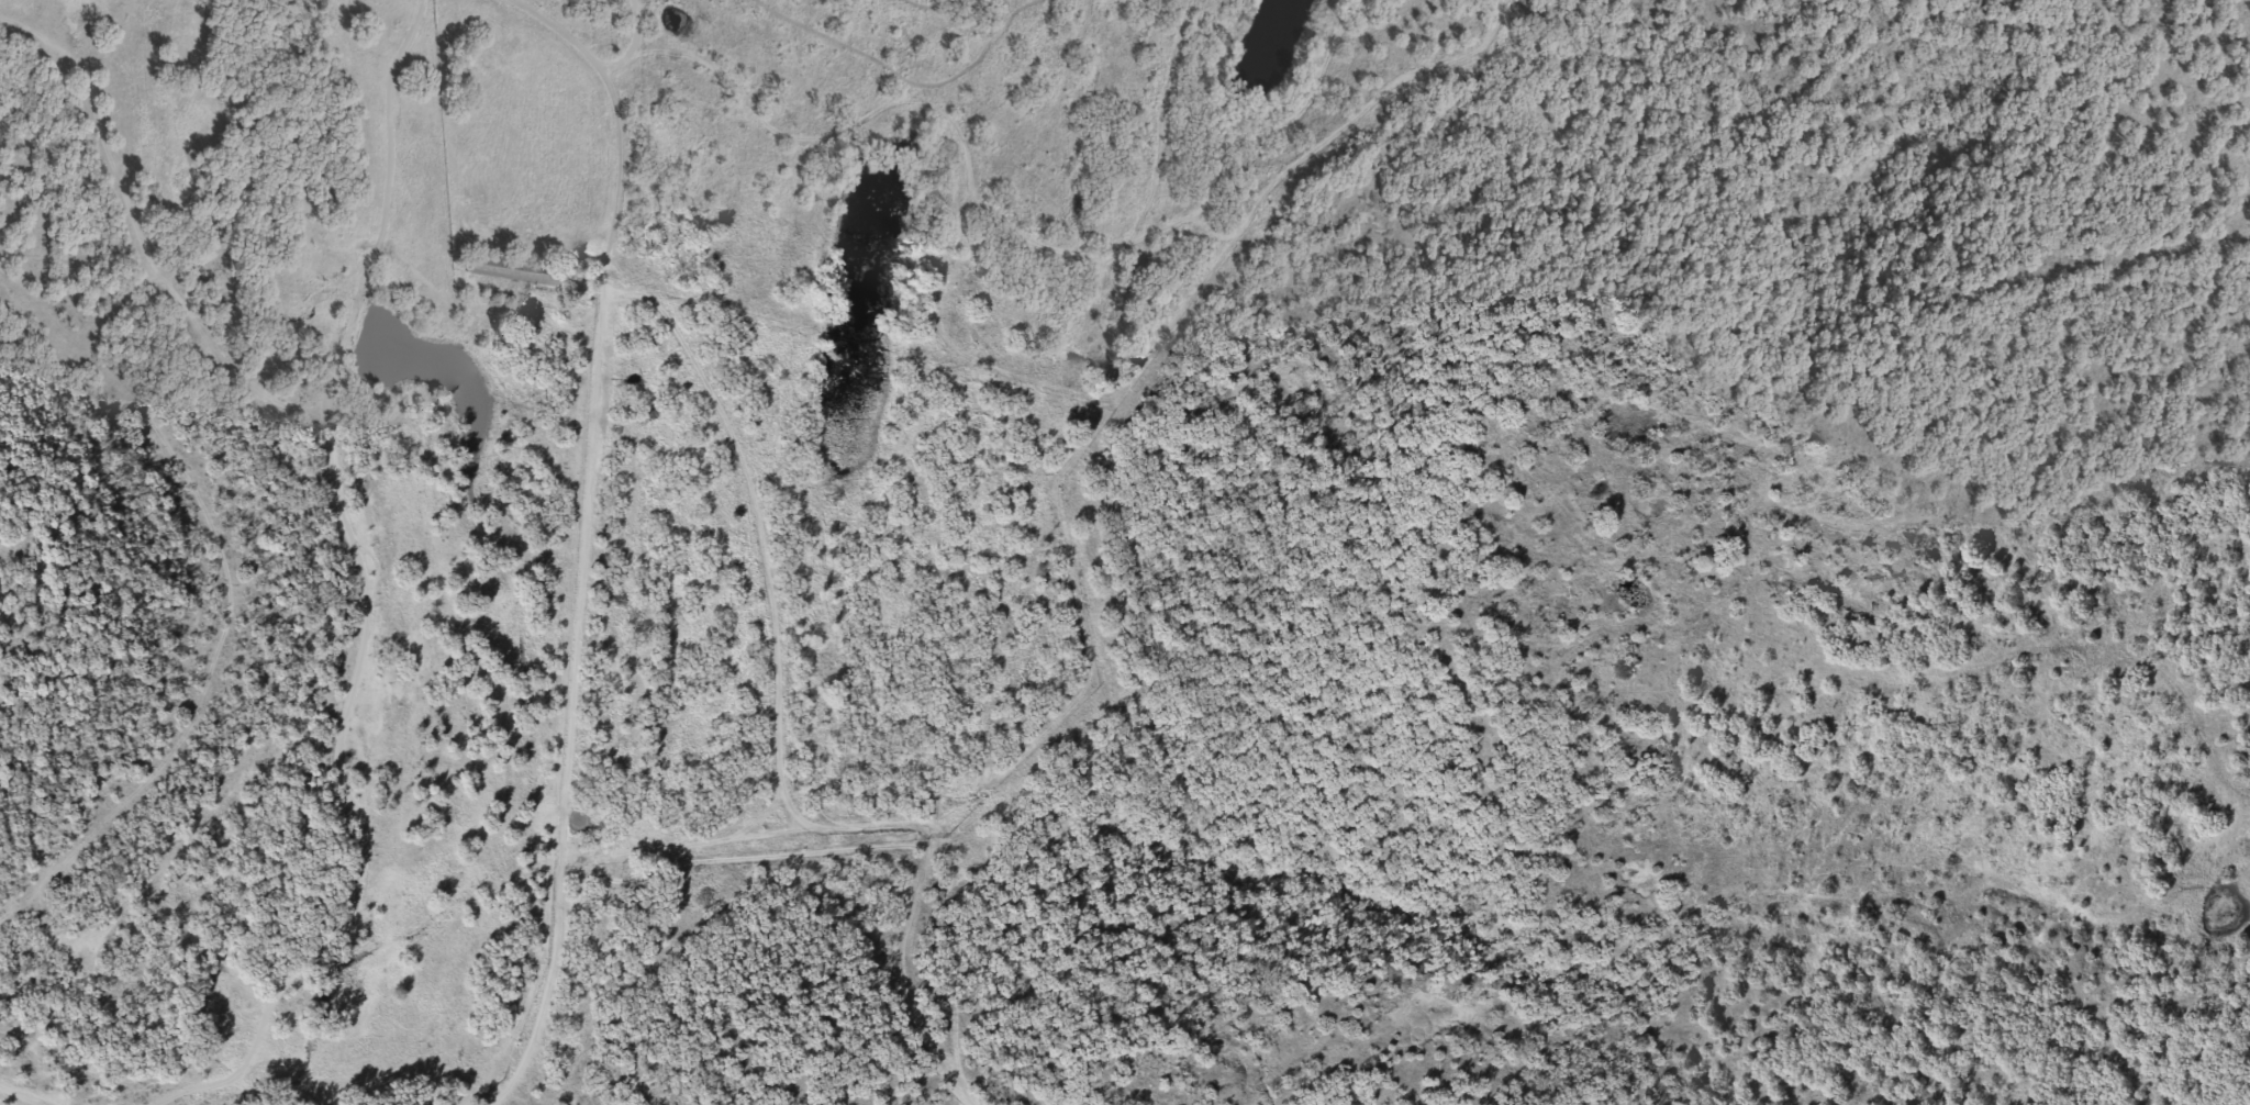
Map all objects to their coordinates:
road: (548, 15)
road: (445, 228)
road: (769, 579)
road: (577, 699)

